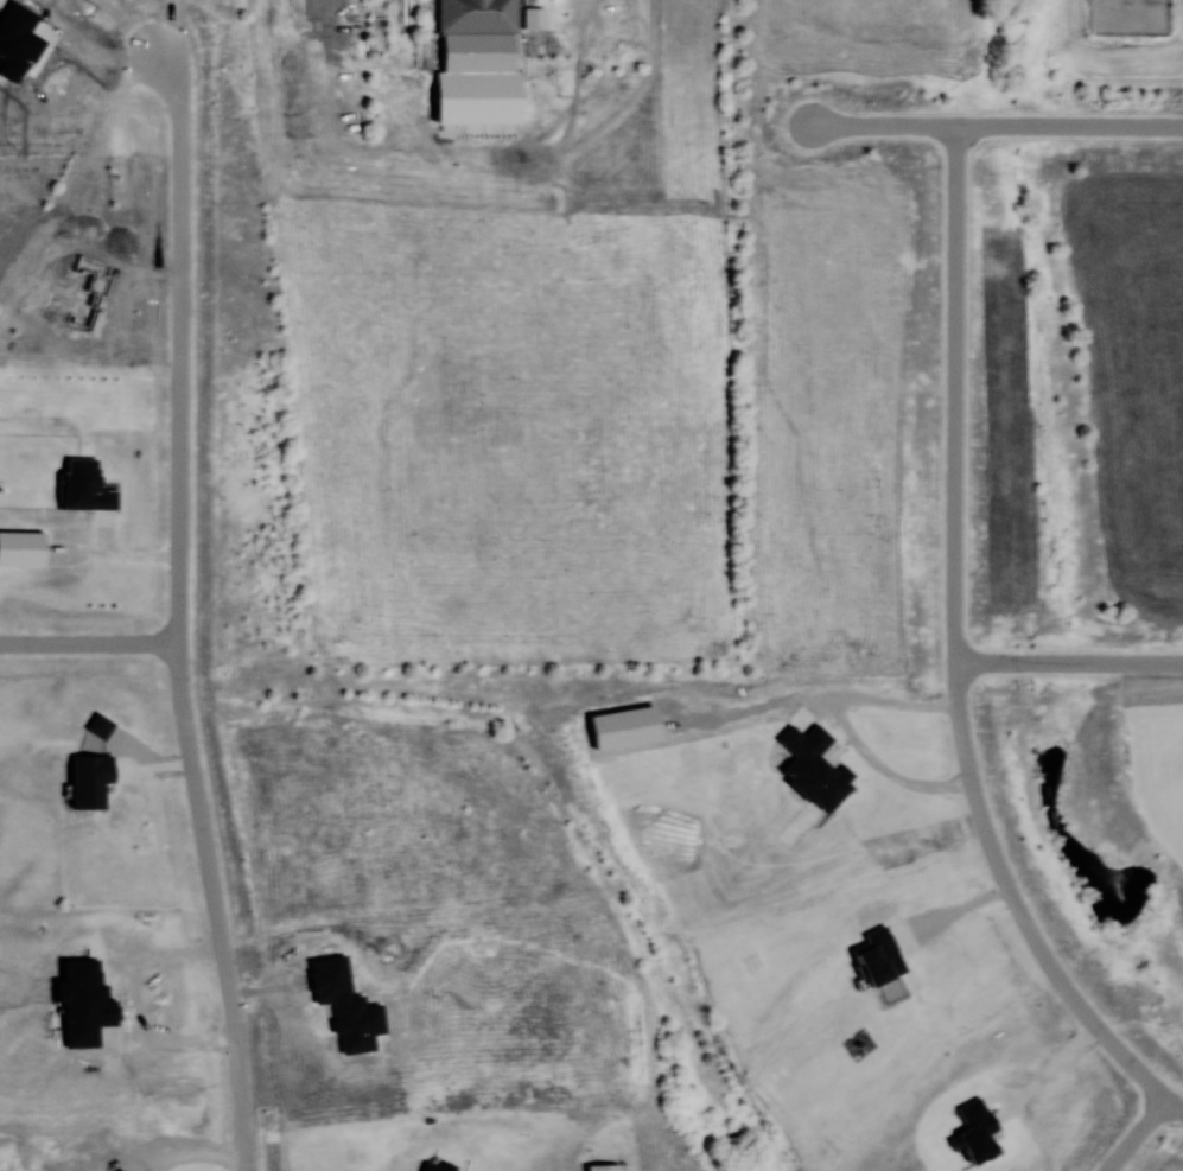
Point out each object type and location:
building: (476, 15)
building: (534, 17)
road: (311, 70)
building: (475, 98)
road: (996, 128)
road: (180, 344)
road: (89, 644)
road: (954, 644)
road: (1069, 662)
road: (848, 730)
road: (215, 906)
road: (952, 915)
road: (139, 1004)
road: (1049, 1071)
road: (1176, 1103)
road: (1138, 1134)

